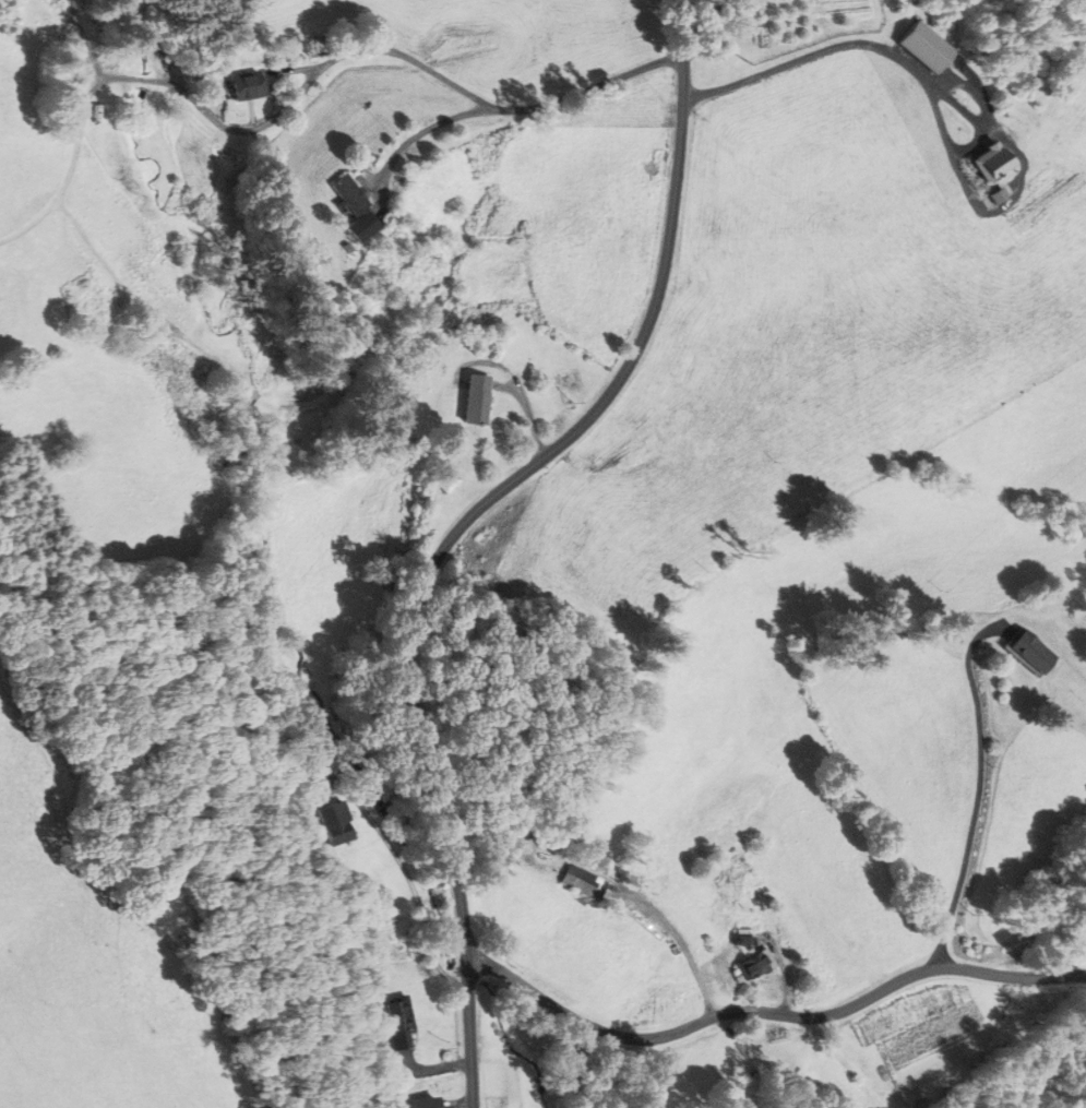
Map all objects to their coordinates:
building: (929, 48)
road: (410, 58)
building: (252, 86)
road: (415, 133)
building: (1000, 164)
building: (360, 195)
building: (482, 401)
building: (451, 482)
road: (464, 524)
building: (1029, 648)
road: (979, 786)
building: (336, 824)
building: (582, 880)
building: (757, 892)
building: (743, 934)
road: (682, 946)
building: (755, 962)
road: (785, 968)
road: (1013, 977)
road: (699, 1023)
building: (403, 1025)
building: (431, 1103)

